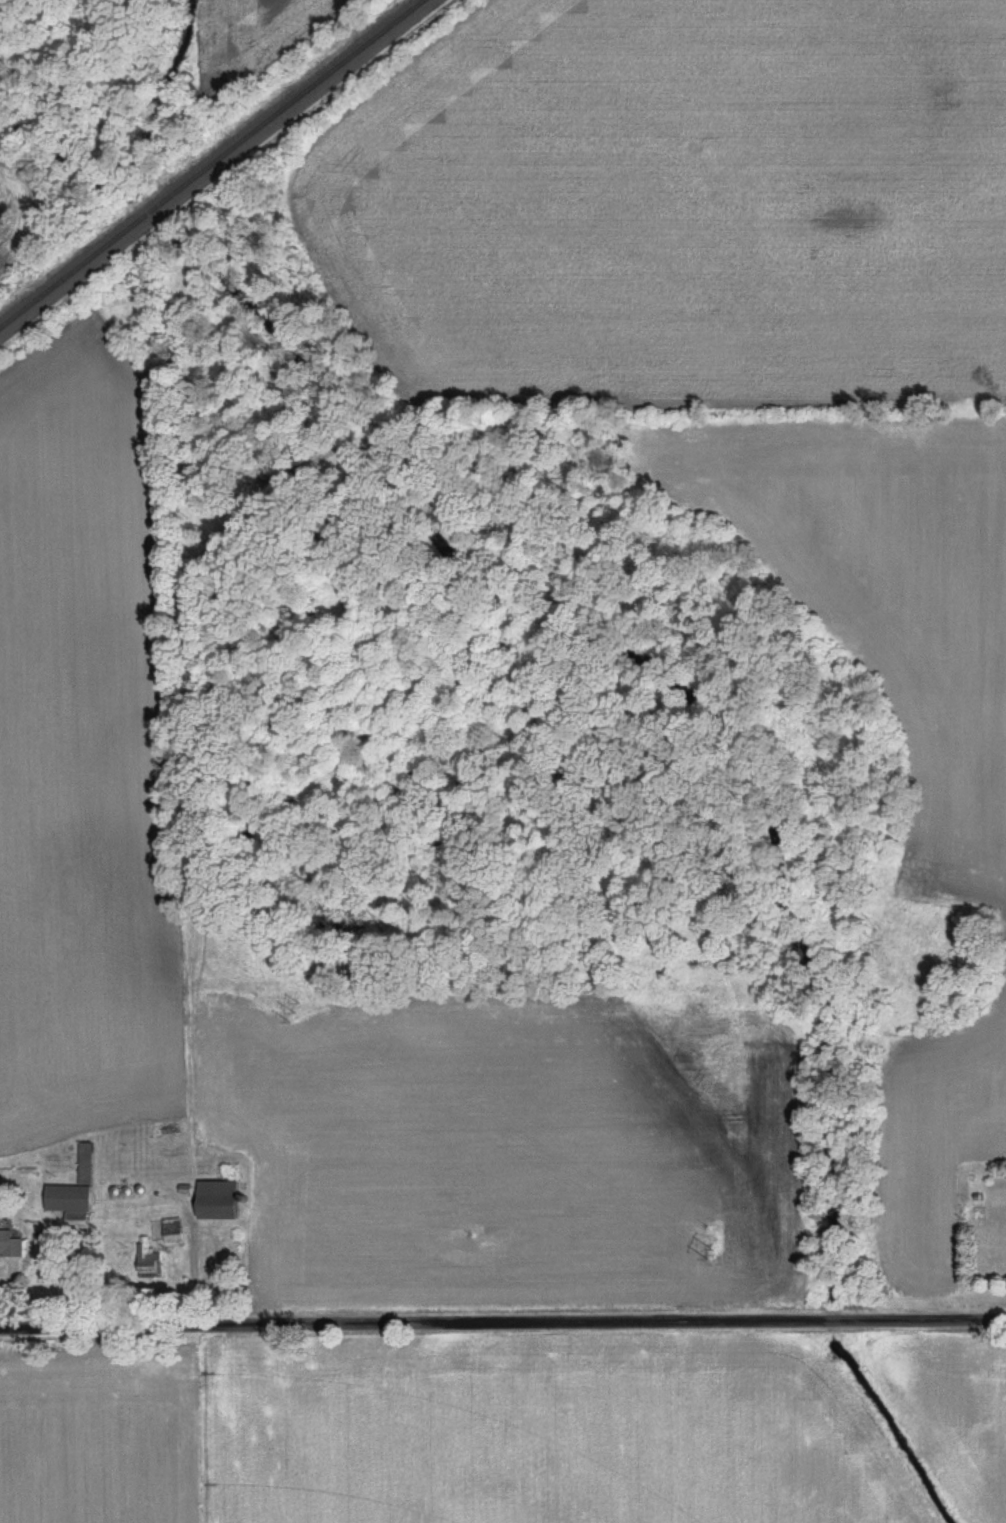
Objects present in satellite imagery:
railway: (215, 165)
building: (76, 1191)
building: (223, 1201)
building: (175, 1231)
building: (11, 1245)
building: (151, 1262)
road: (503, 1322)
crop: (444, 1435)

